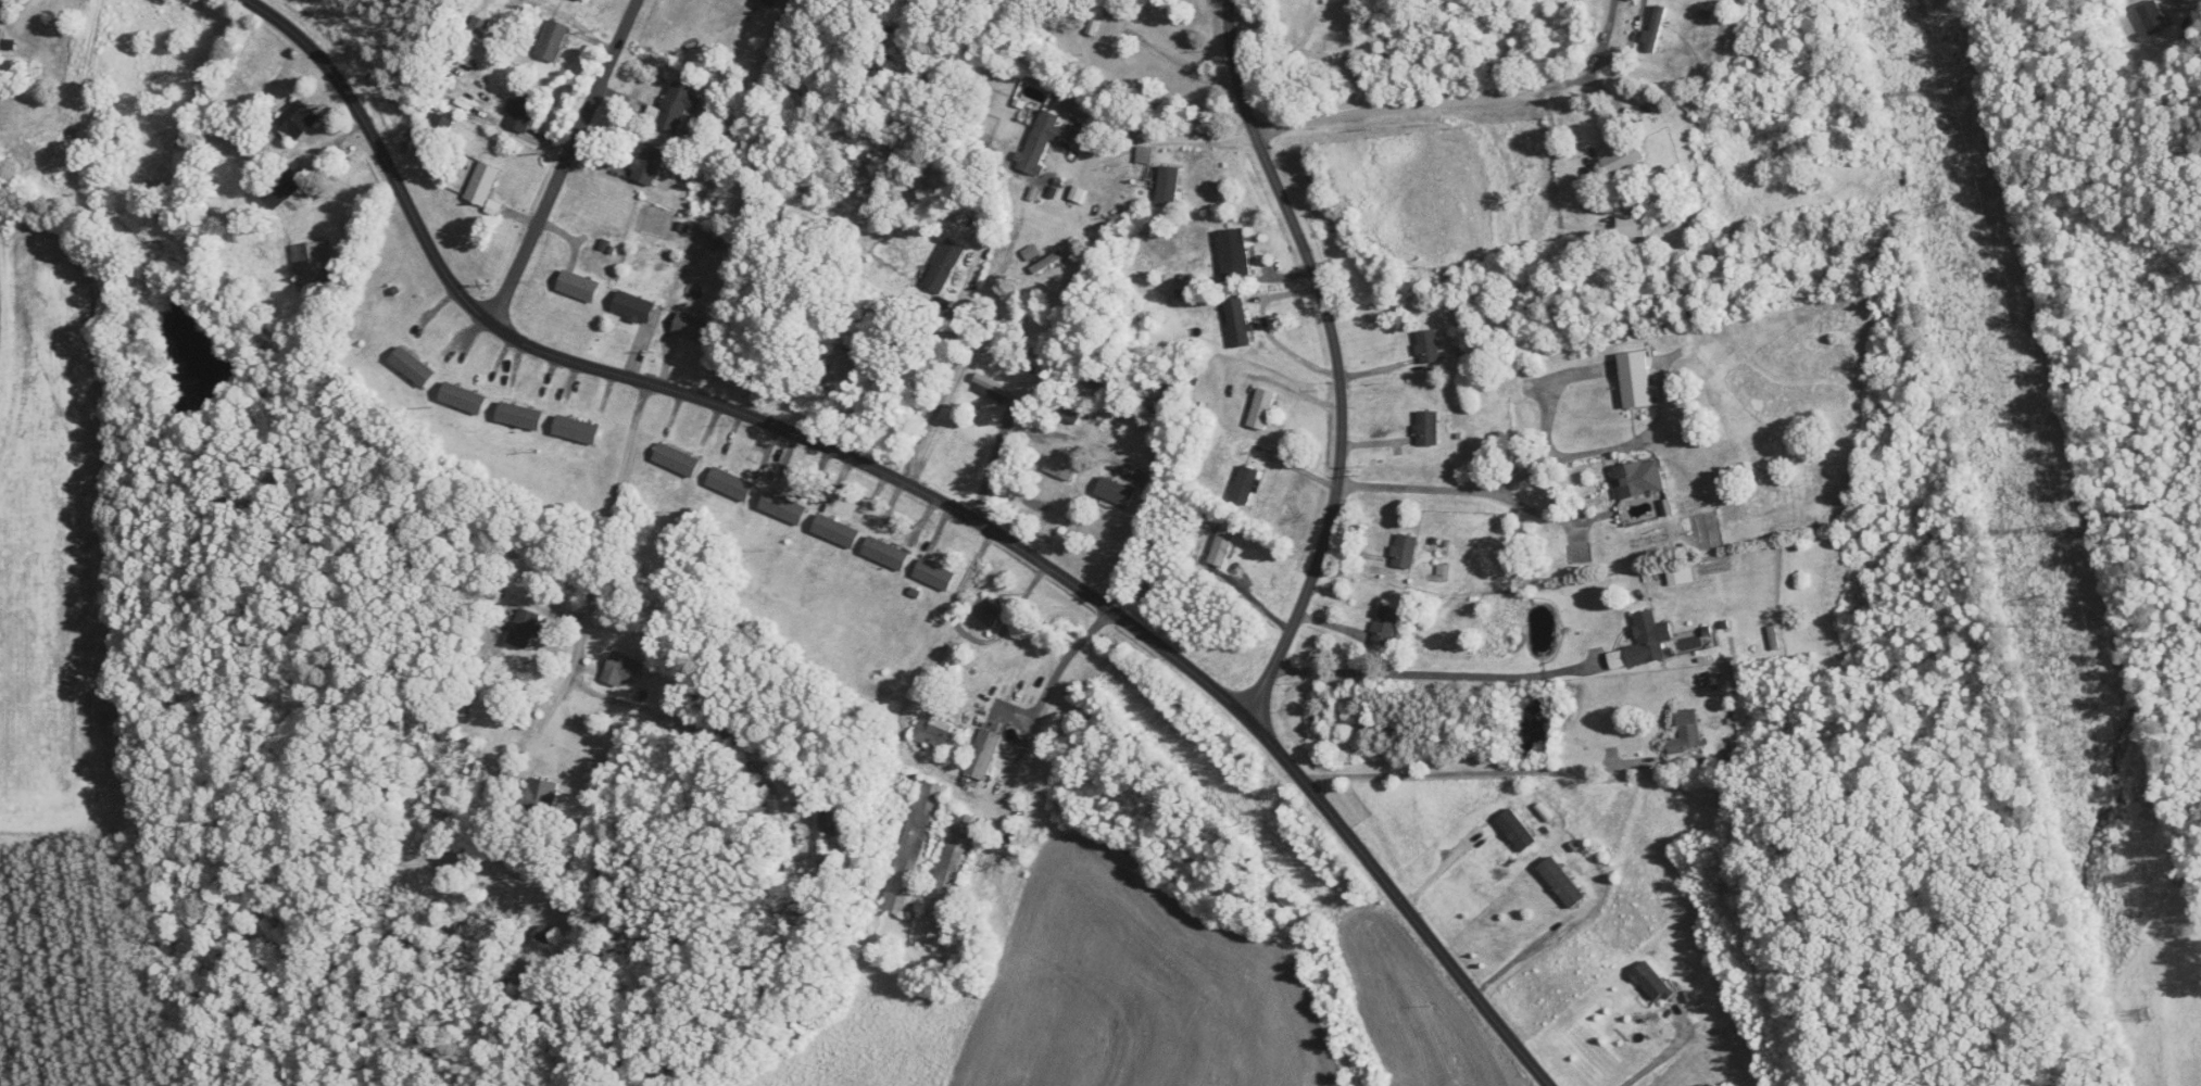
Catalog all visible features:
building: (581, 1)
building: (766, 1)
building: (1097, 17)
building: (2154, 17)
building: (479, 29)
building: (553, 41)
building: (5, 43)
road: (1464, 101)
building: (674, 108)
building: (524, 112)
building: (297, 121)
building: (442, 124)
road: (1168, 135)
building: (1041, 141)
building: (1144, 155)
building: (1624, 159)
road: (565, 163)
building: (649, 164)
building: (482, 184)
building: (1168, 187)
building: (285, 188)
power tower: (1942, 211)
building: (1632, 227)
building: (1234, 253)
building: (312, 264)
building: (944, 267)
building: (578, 287)
building: (633, 306)
building: (1238, 320)
building: (693, 329)
building: (1429, 348)
road: (970, 350)
road: (1336, 359)
building: (412, 367)
building: (840, 368)
building: (1635, 379)
building: (996, 390)
building: (464, 397)
building: (1262, 408)
building: (520, 416)
building: (1427, 428)
building: (577, 430)
building: (677, 460)
building: (1064, 465)
building: (1678, 475)
building: (1640, 479)
building: (730, 484)
building: (1245, 485)
road: (1462, 491)
road: (922, 492)
building: (1116, 492)
building: (783, 508)
building: (837, 531)
building: (1222, 546)
building: (1405, 551)
building: (885, 554)
road: (600, 573)
building: (934, 576)
building: (1681, 576)
power tower: (2040, 602)
building: (991, 614)
building: (1385, 624)
building: (524, 629)
building: (1648, 640)
road: (1064, 660)
building: (947, 665)
building: (622, 669)
road: (1432, 673)
road: (697, 724)
building: (1687, 733)
building: (939, 734)
building: (982, 755)
road: (1467, 772)
building: (470, 783)
building: (541, 799)
building: (1517, 830)
building: (823, 841)
building: (914, 848)
road: (1437, 869)
building: (946, 880)
building: (1562, 883)
building: (549, 935)
building: (1652, 983)
power tower: (2142, 1014)
road: (1659, 1058)

